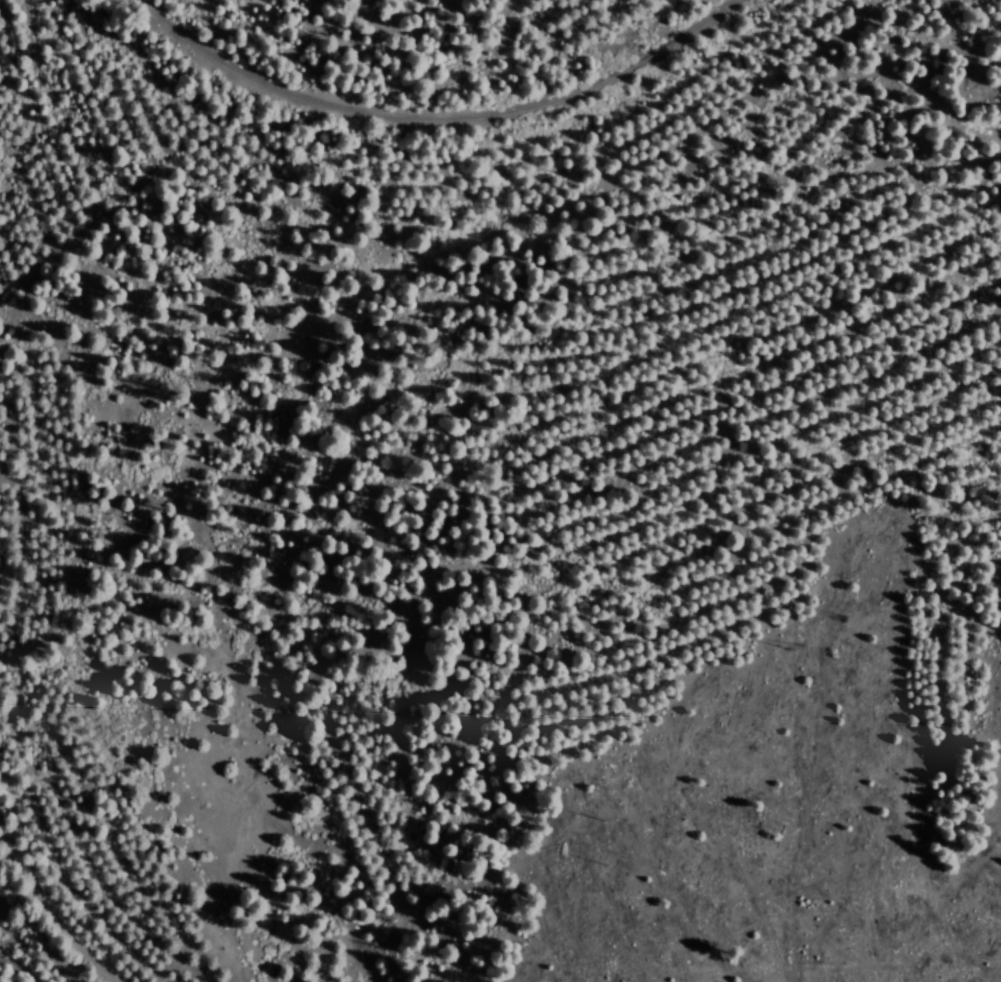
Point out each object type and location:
railway: (428, 114)
road: (69, 885)

